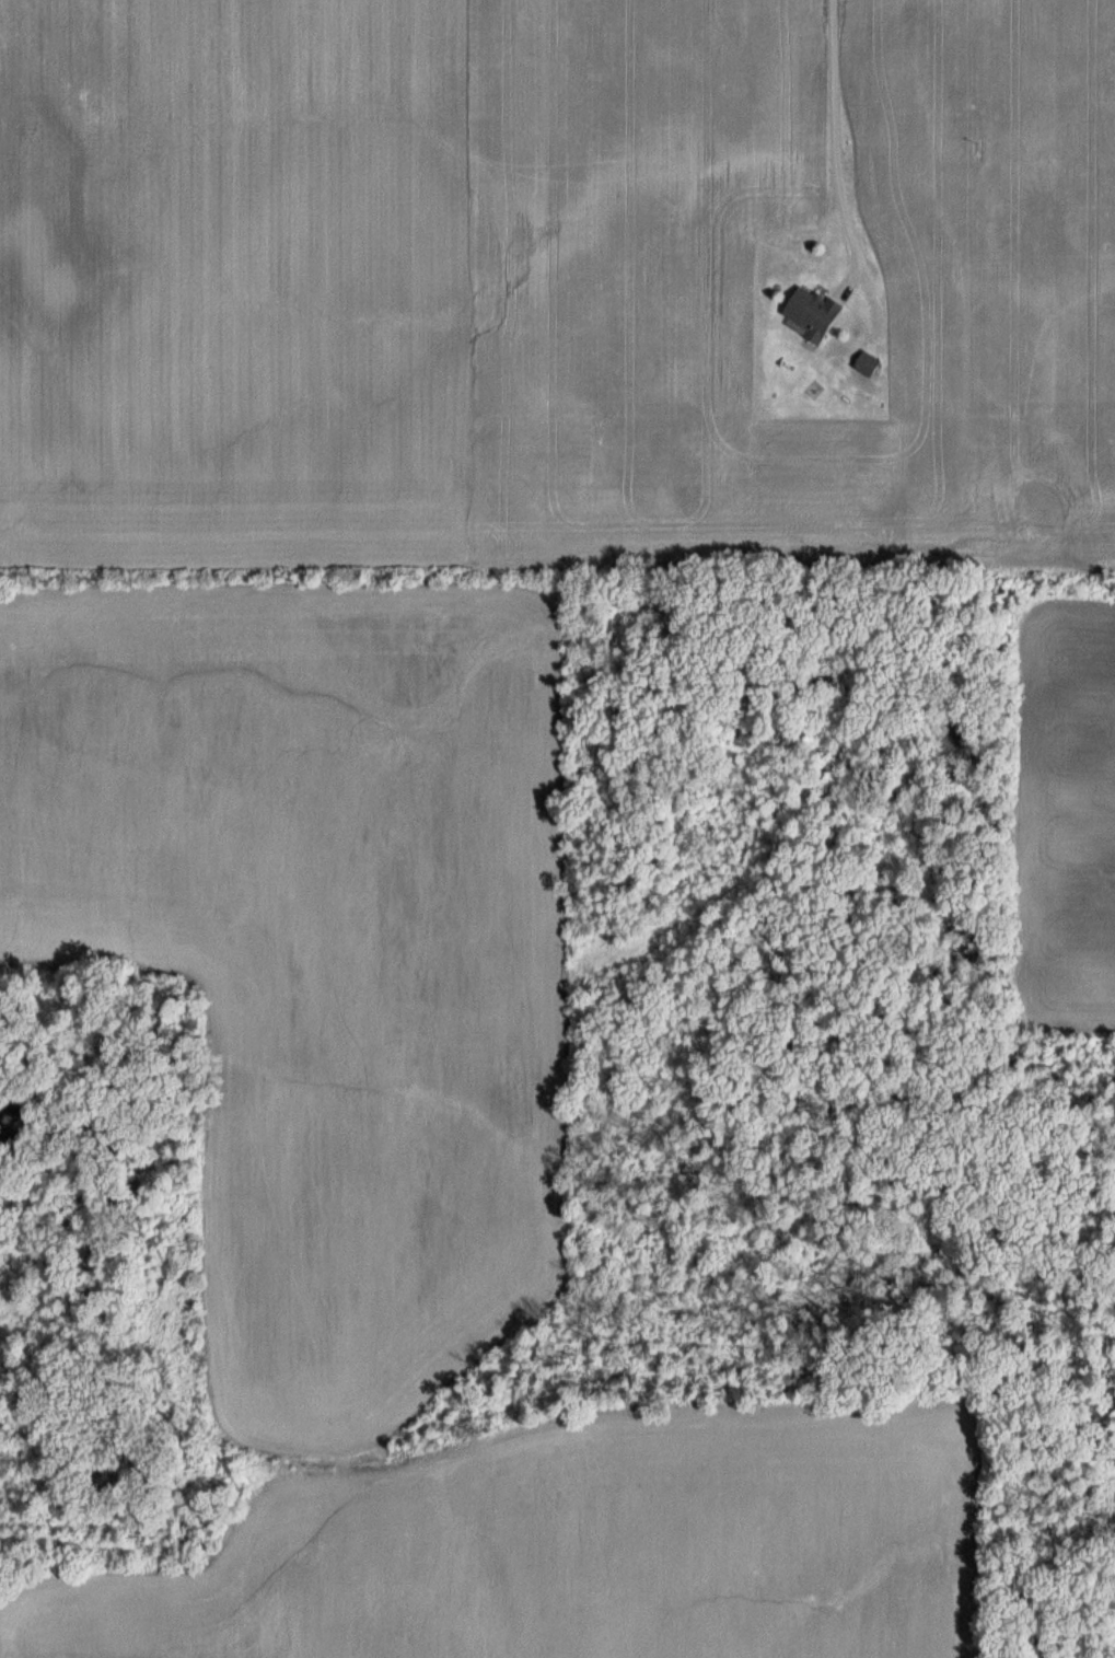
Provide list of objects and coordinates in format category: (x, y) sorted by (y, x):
building: (817, 318)
building: (869, 364)

